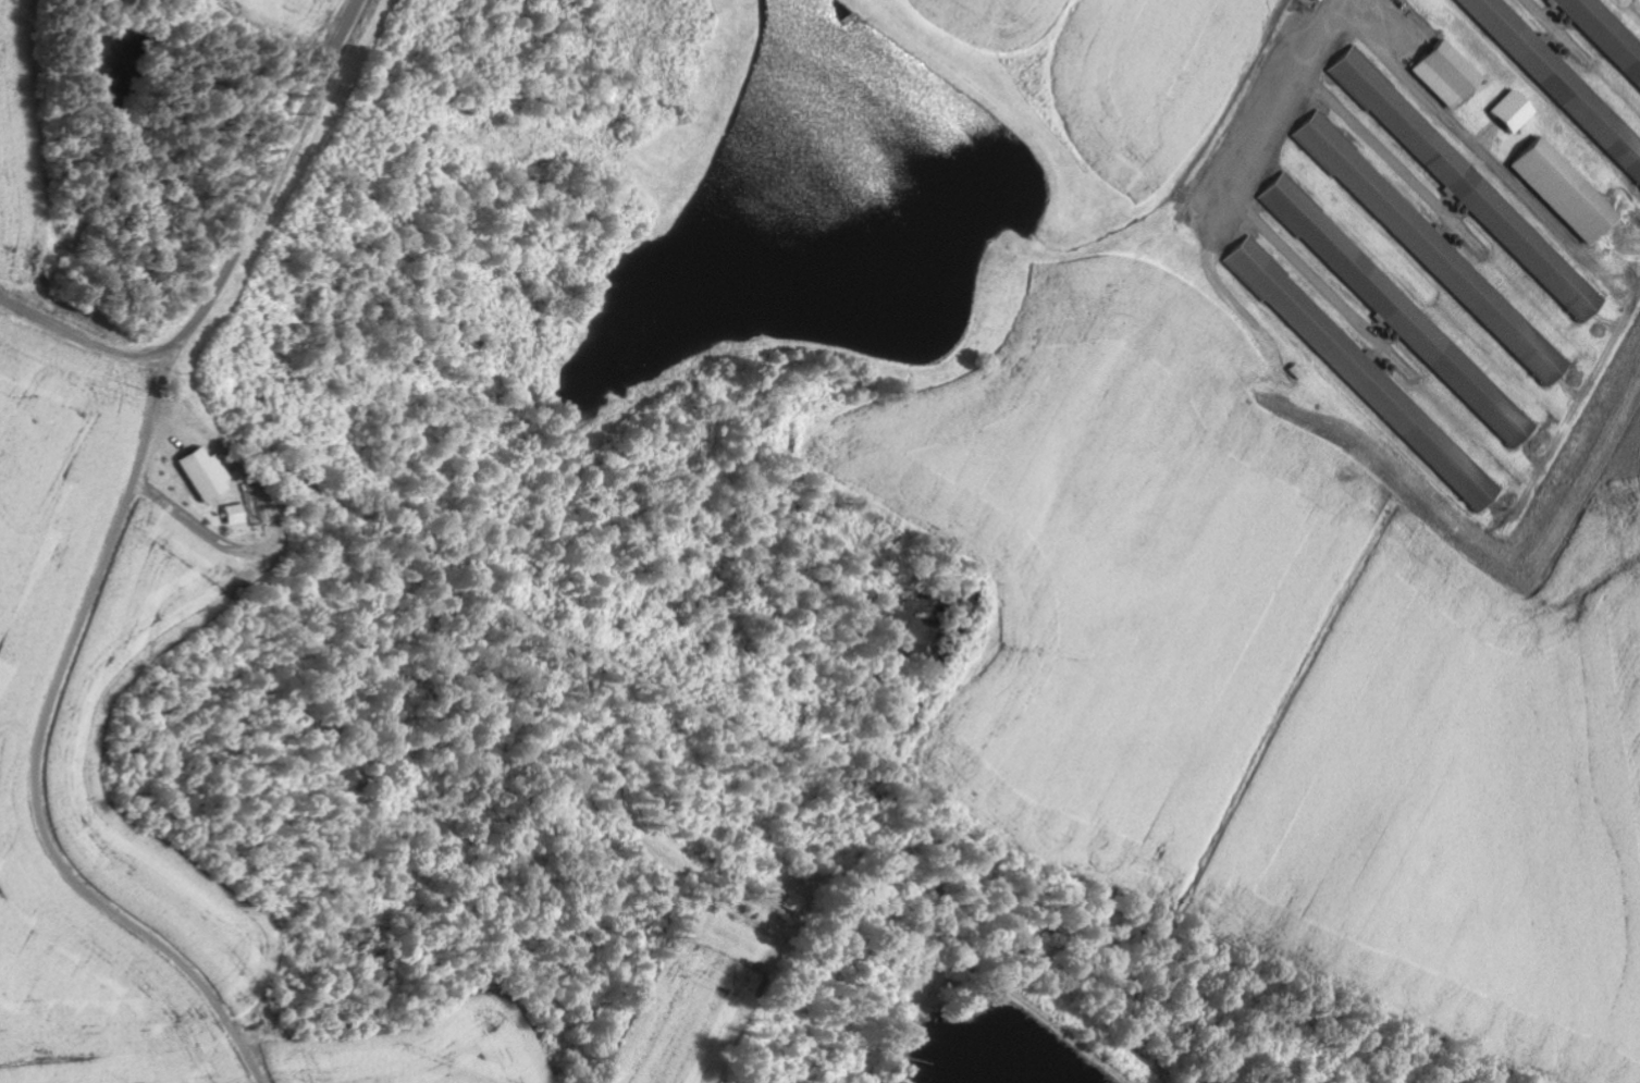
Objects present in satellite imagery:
building: (1605, 35)
building: (1444, 74)
building: (1558, 82)
building: (1466, 185)
building: (1559, 190)
building: (1429, 247)
road: (236, 261)
building: (1397, 311)
building: (1362, 374)
building: (201, 473)
building: (232, 515)

